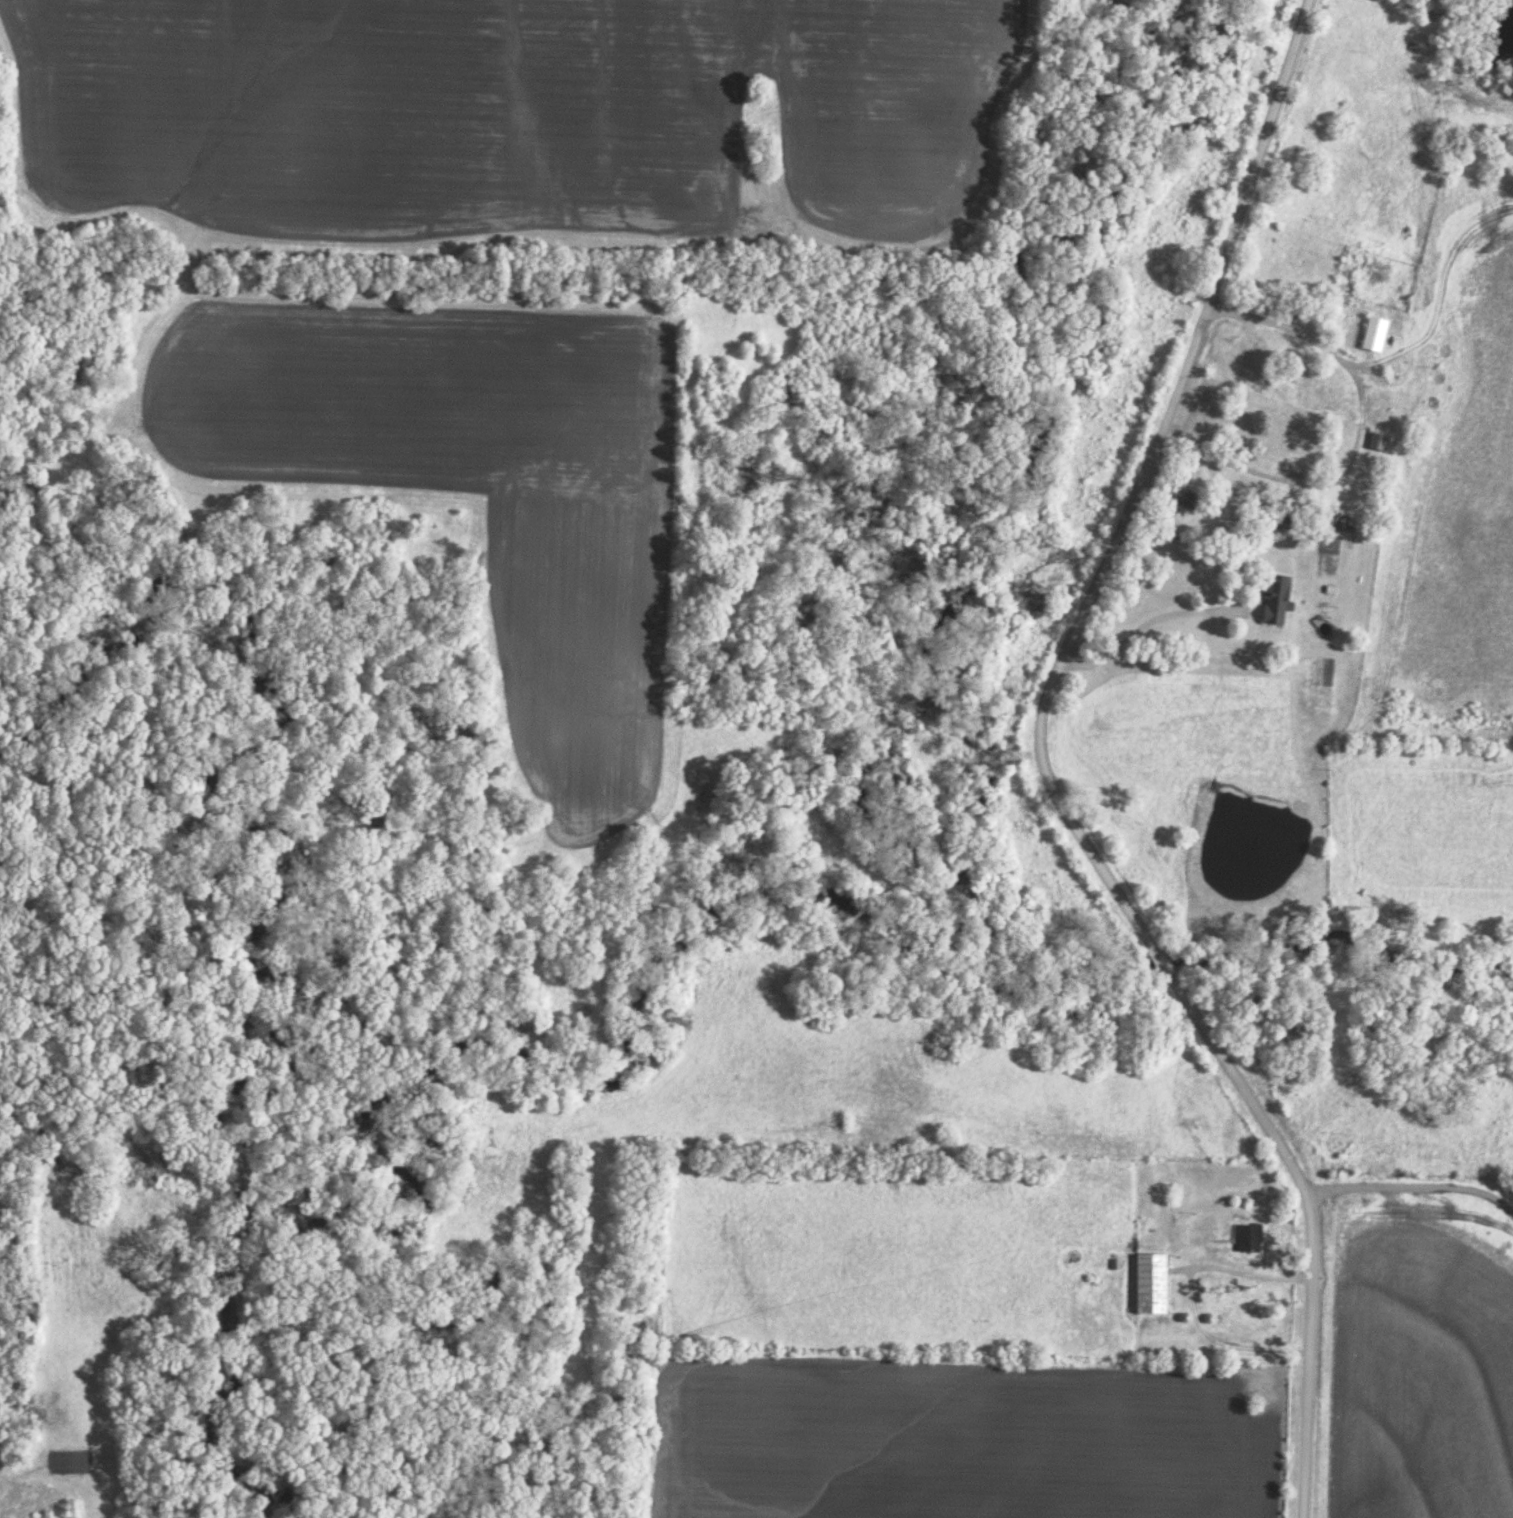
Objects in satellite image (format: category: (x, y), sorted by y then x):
road: (1295, 326)
building: (1438, 376)
building: (1379, 440)
building: (1275, 597)
road: (1144, 620)
road: (1045, 773)
road: (1411, 1184)
building: (1249, 1236)
building: (1151, 1282)
road: (1189, 1294)

